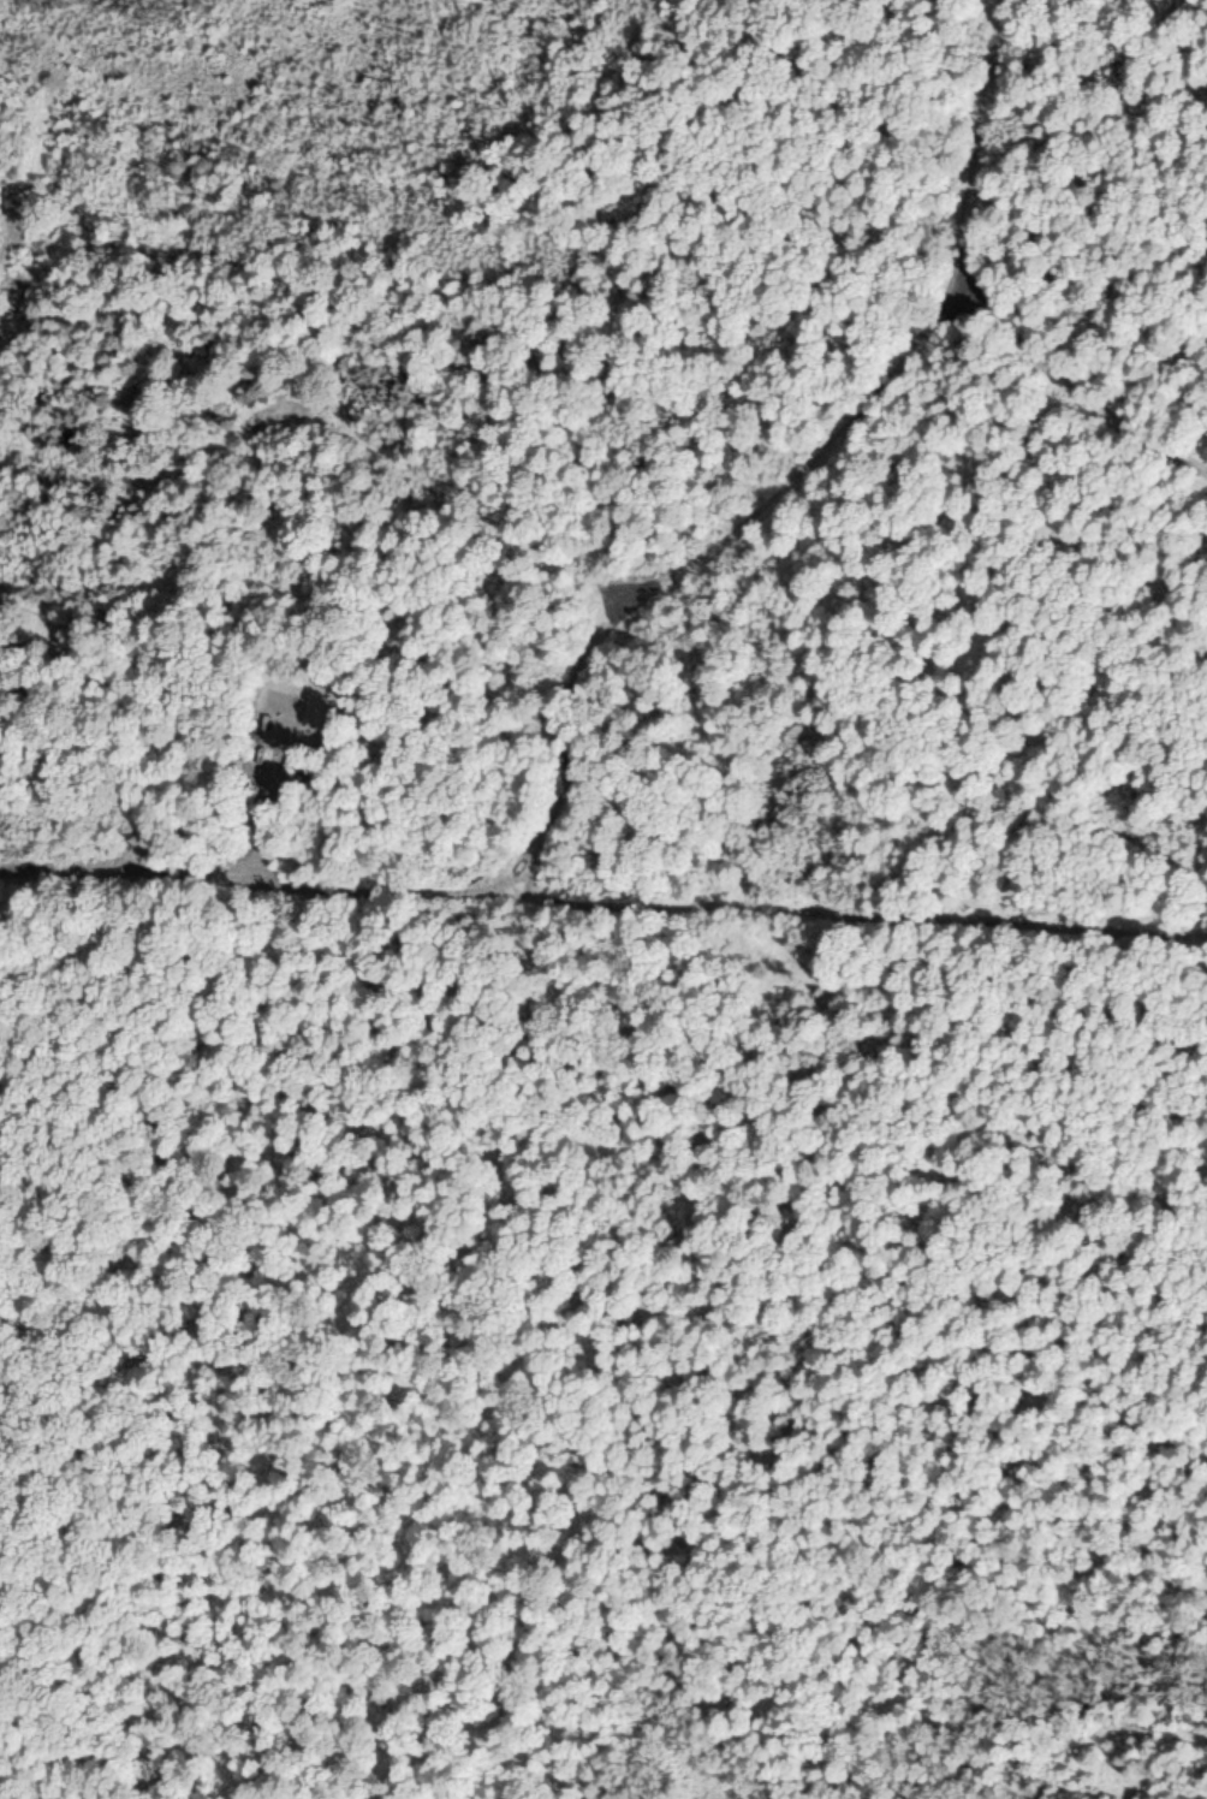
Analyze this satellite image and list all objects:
road: (237, 885)

